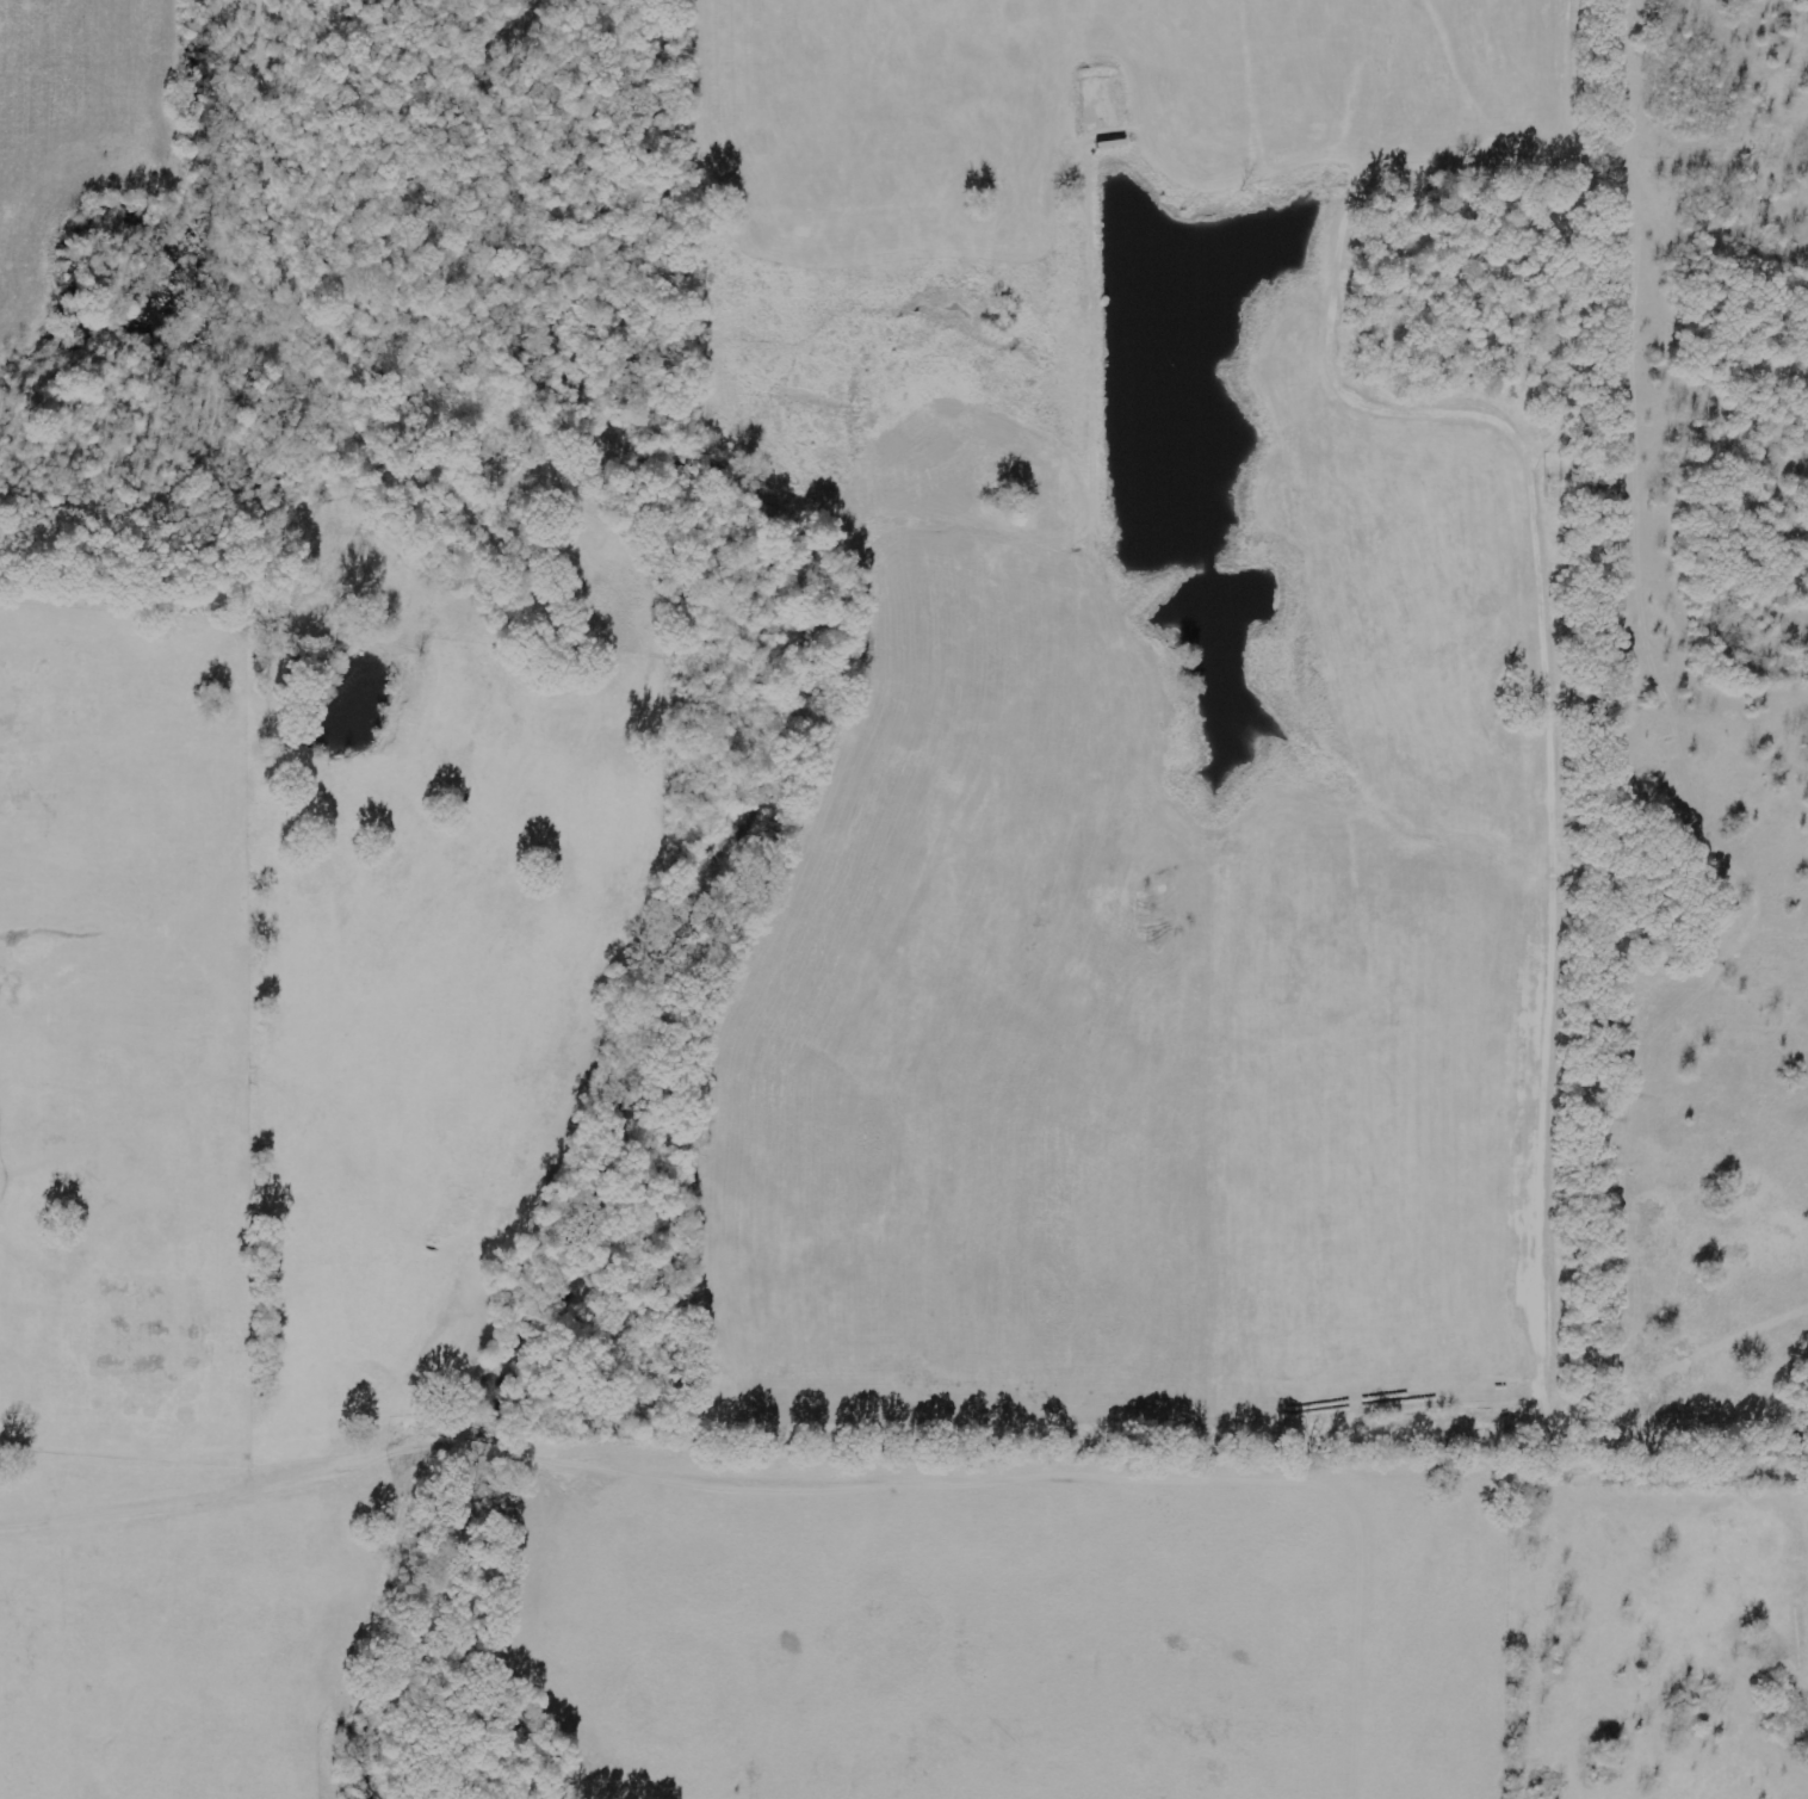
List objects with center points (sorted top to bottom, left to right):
road: (1645, 1479)
road: (1745, 1482)

